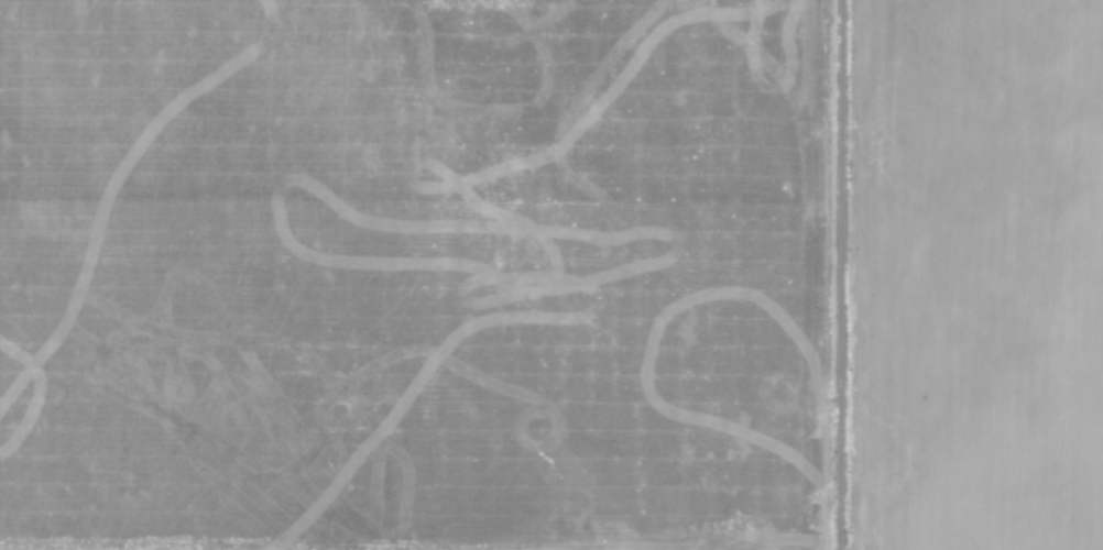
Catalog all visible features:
road: (833, 275)

